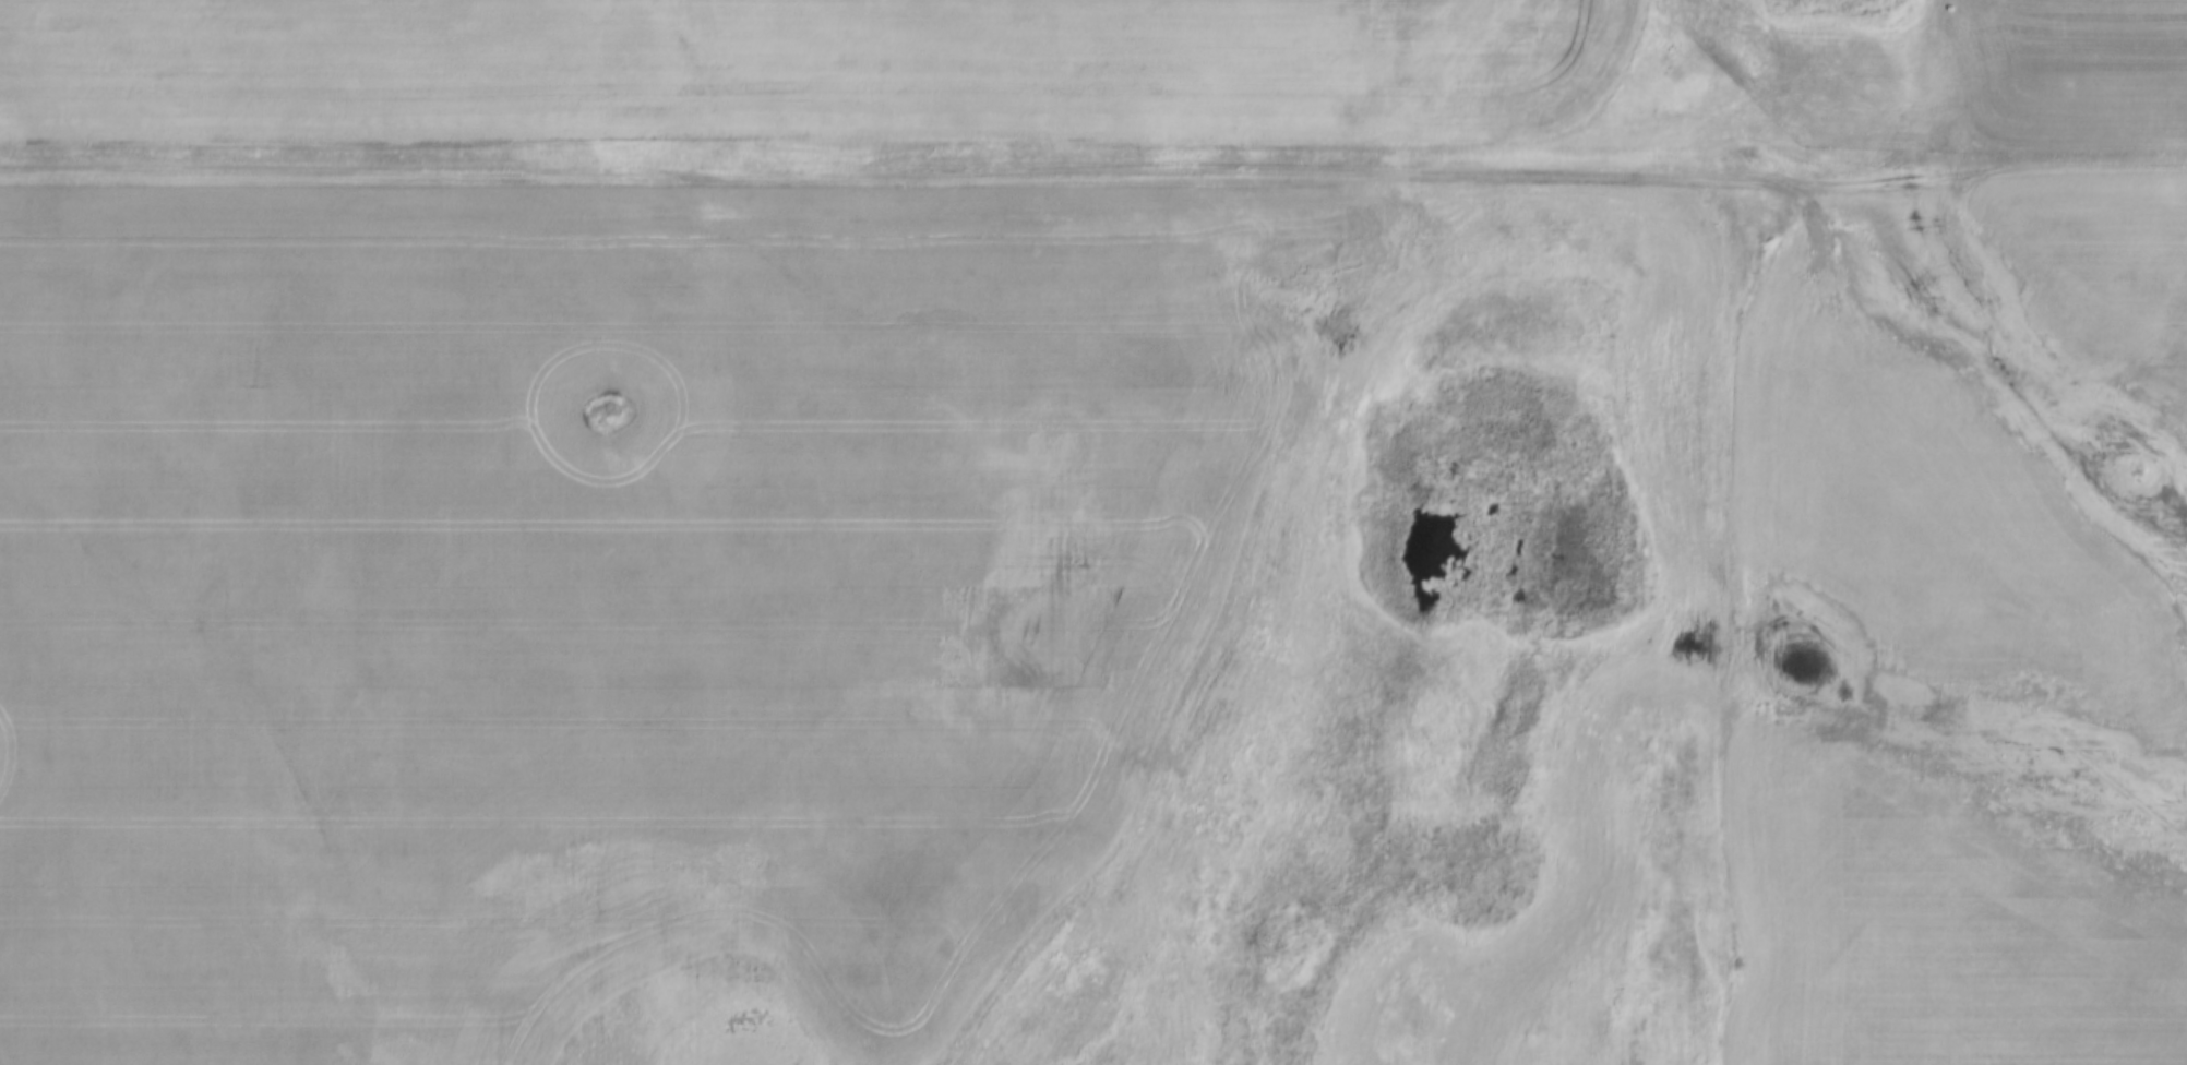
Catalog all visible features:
road: (1093, 168)

